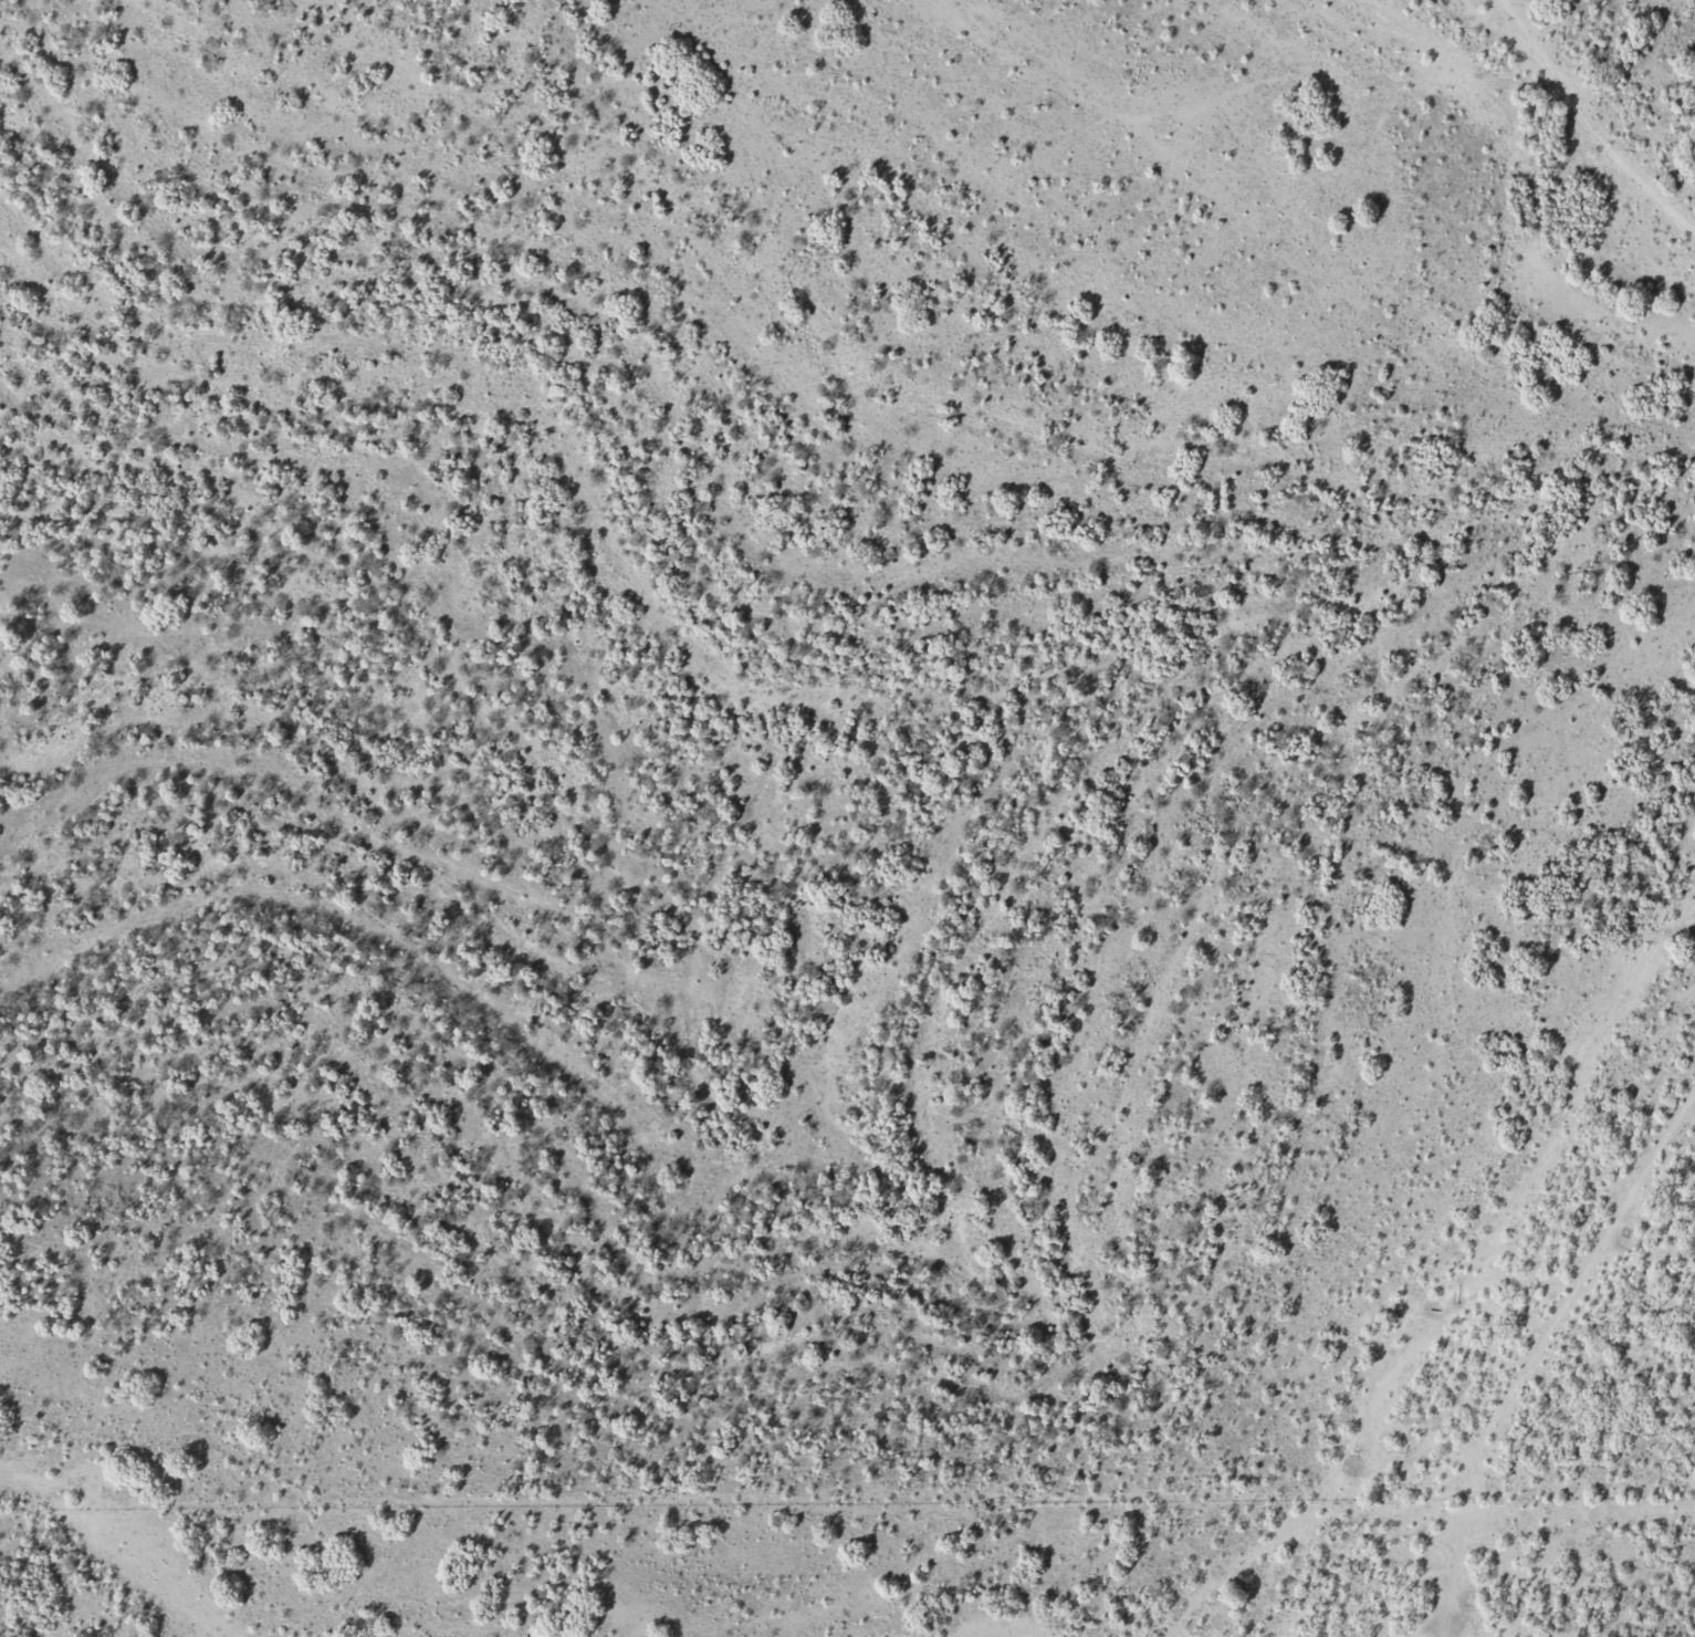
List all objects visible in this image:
road: (1579, 115)
road: (1530, 1322)

